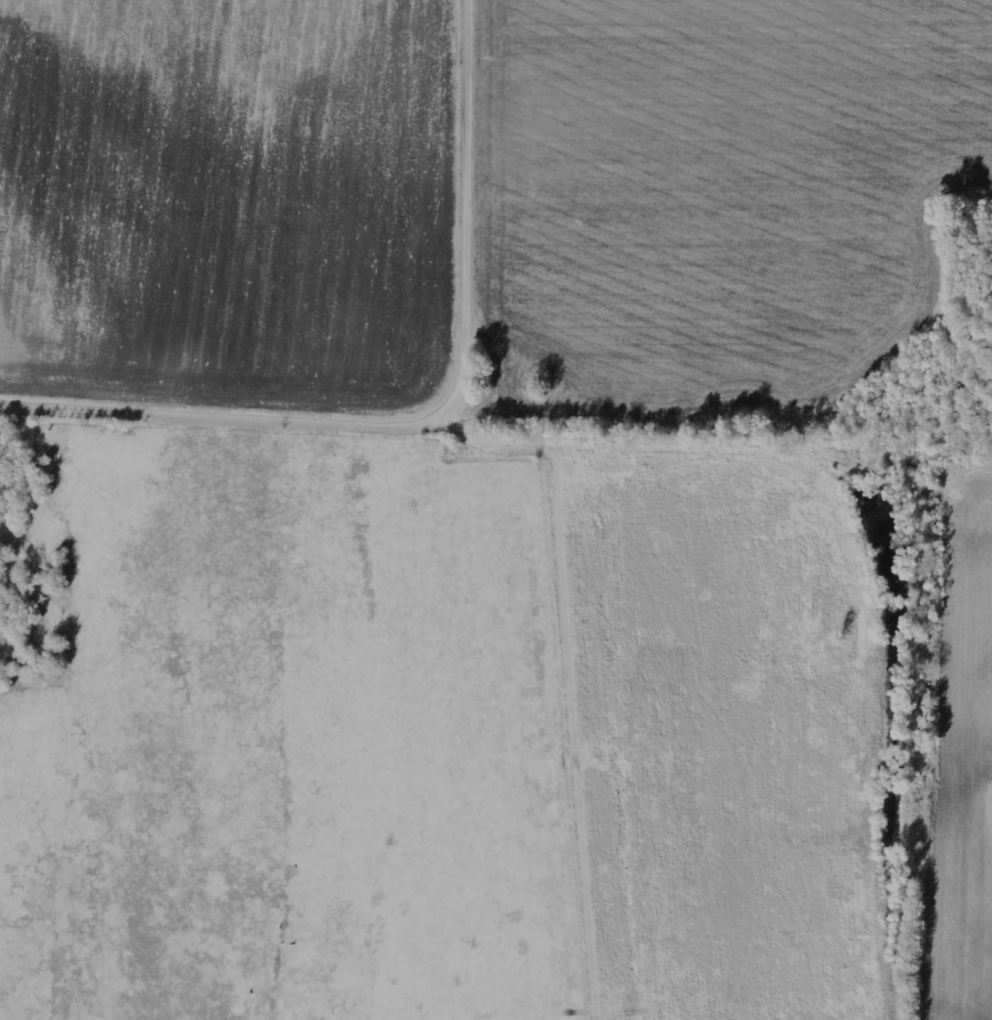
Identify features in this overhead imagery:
road: (433, 420)

